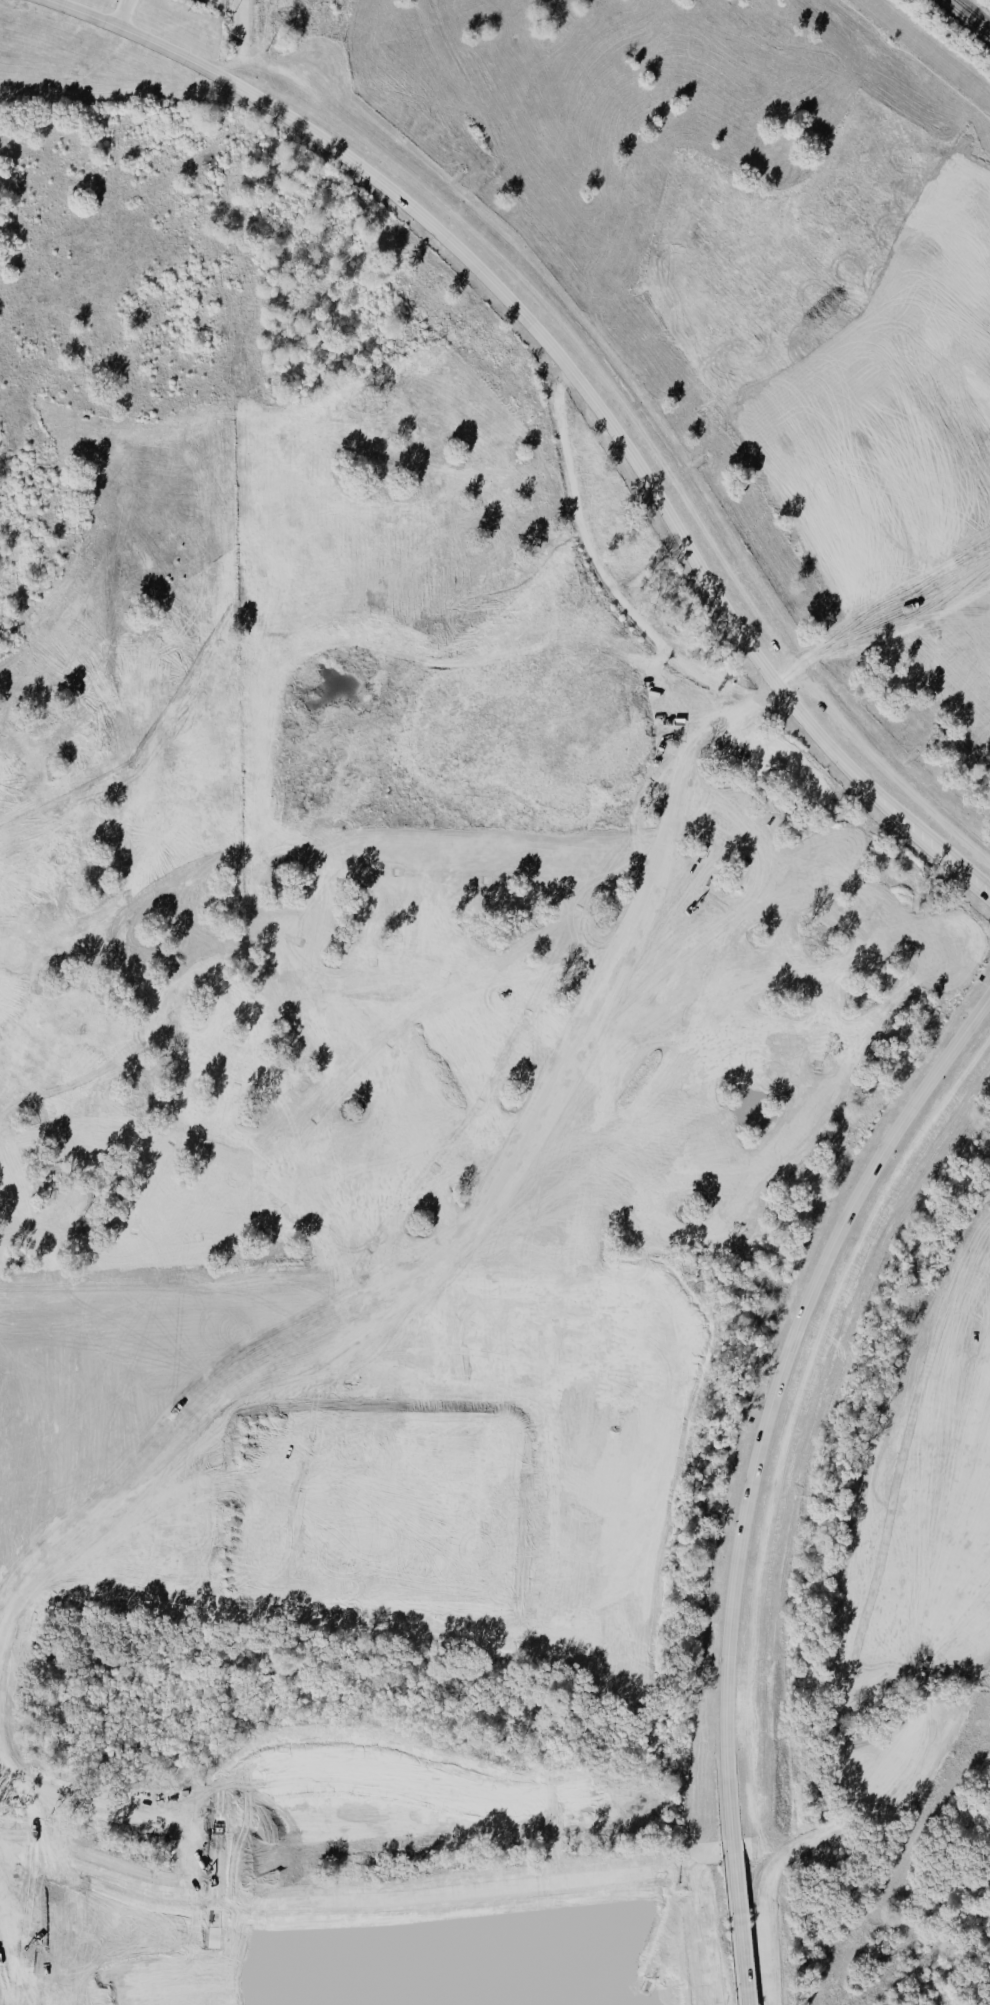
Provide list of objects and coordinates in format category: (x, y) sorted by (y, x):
road: (120, 13)
railway: (971, 14)
railway: (964, 20)
railway: (929, 48)
road: (206, 217)
road: (100, 380)
road: (577, 382)
road: (149, 547)
road: (206, 562)
road: (171, 721)
road: (497, 850)
road: (195, 893)
road: (138, 1063)
road: (249, 1169)
road: (305, 1183)
road: (109, 1236)
road: (777, 1391)
road: (741, 1922)

